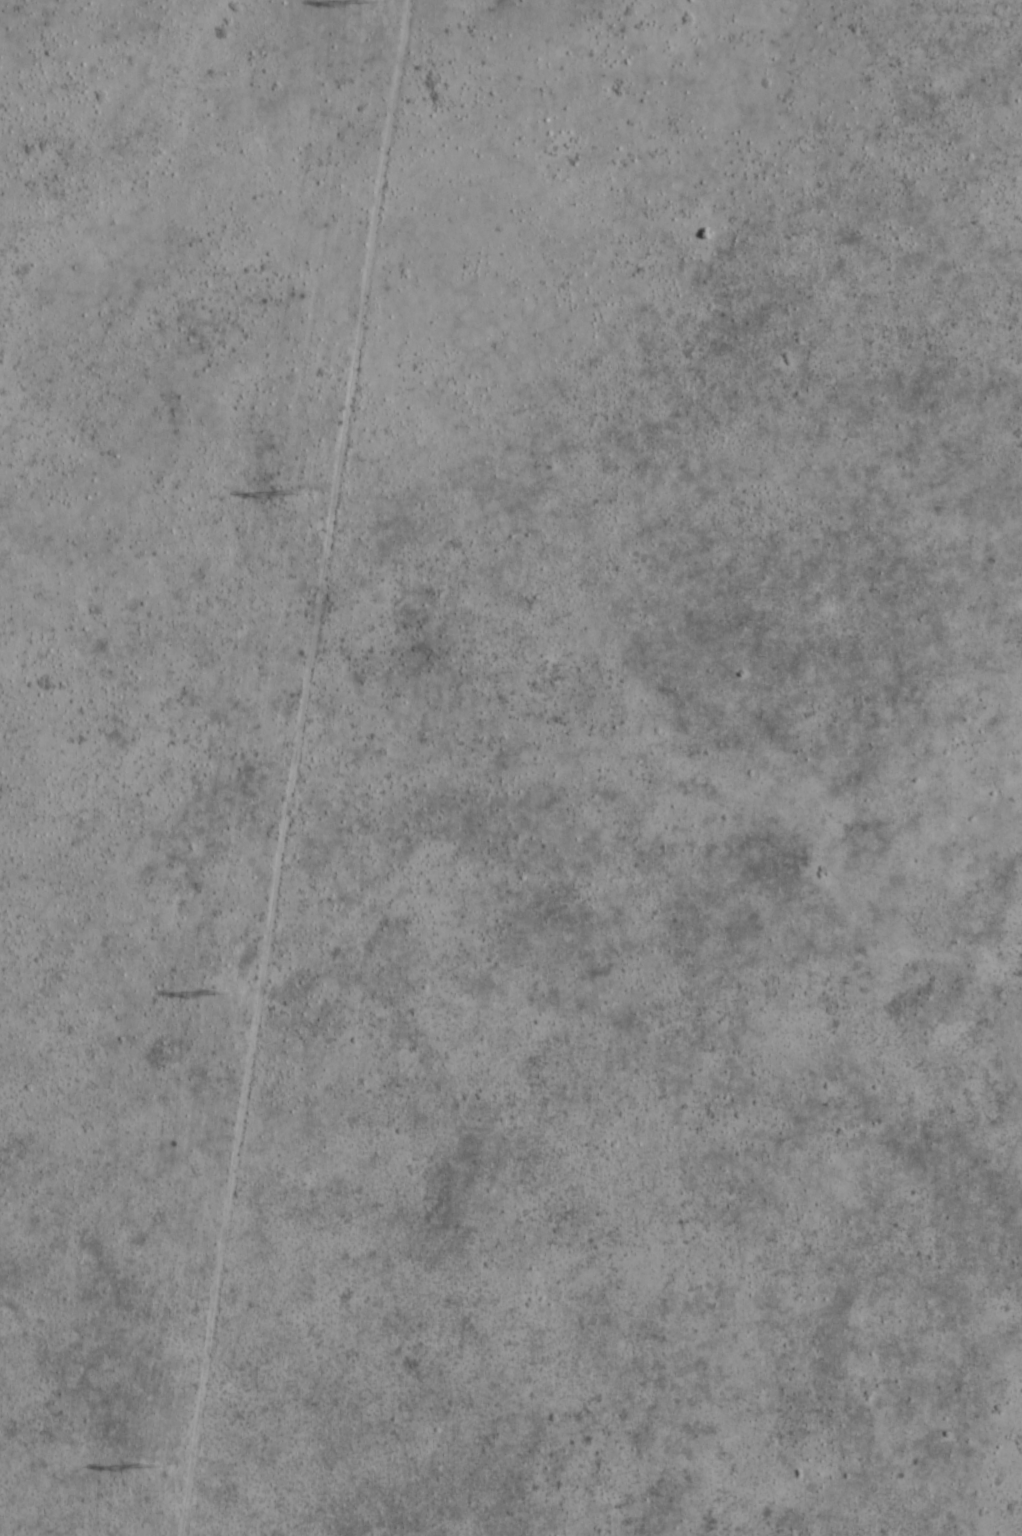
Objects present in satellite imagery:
power tower: (383, 1)
power tower: (310, 493)
power tower: (237, 992)
power tower: (167, 1467)

